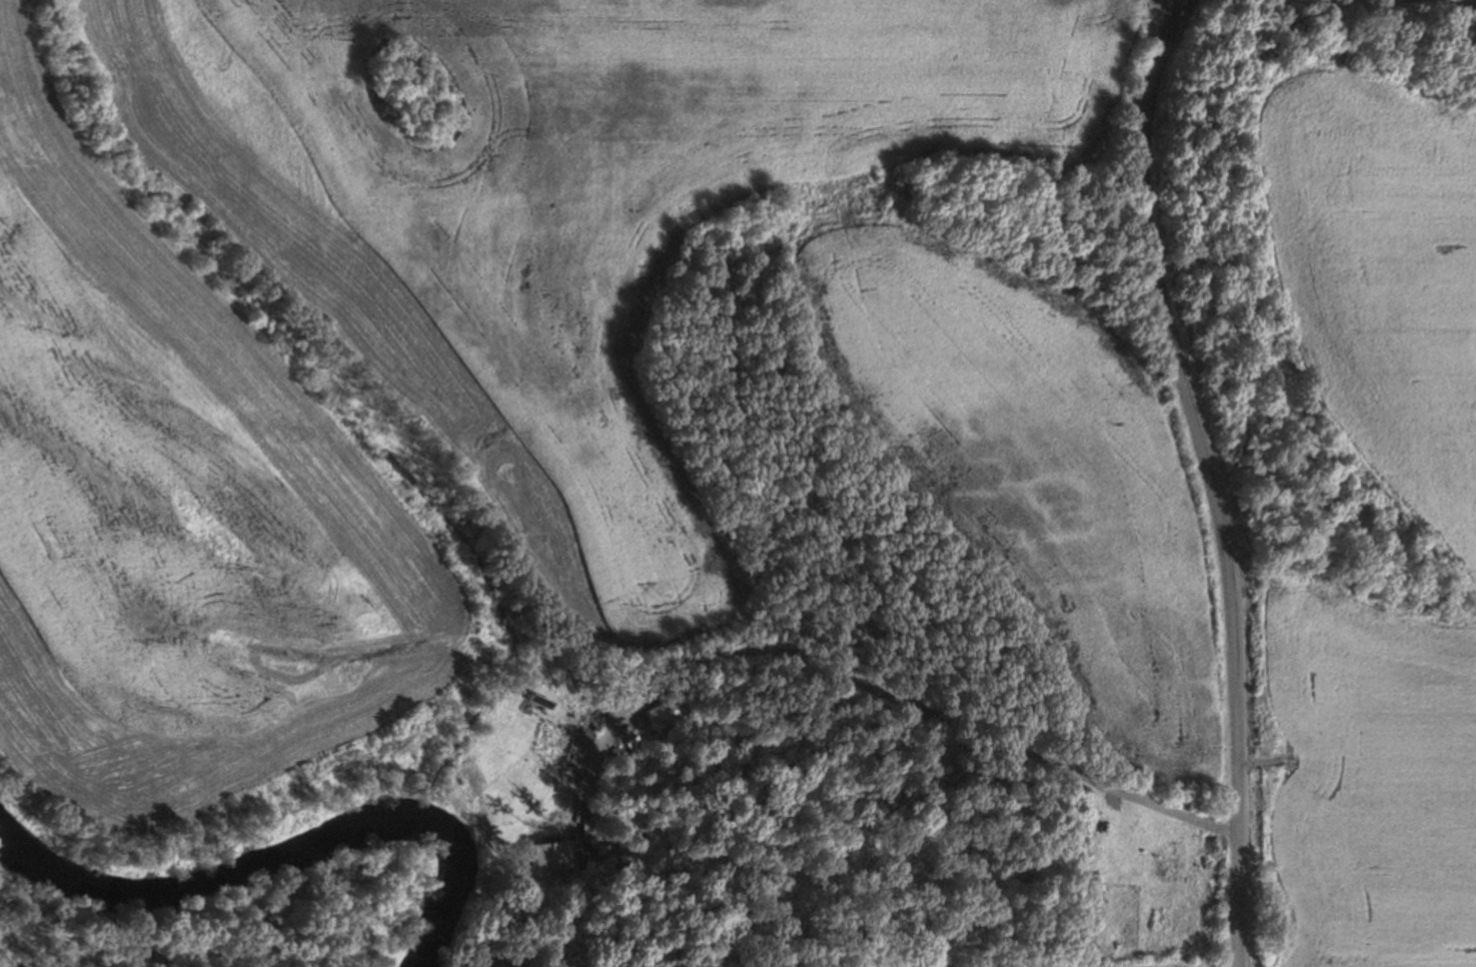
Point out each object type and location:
road: (1201, 478)
building: (655, 715)
road: (948, 737)
building: (640, 743)
building: (553, 856)
river: (260, 867)
park: (215, 927)

